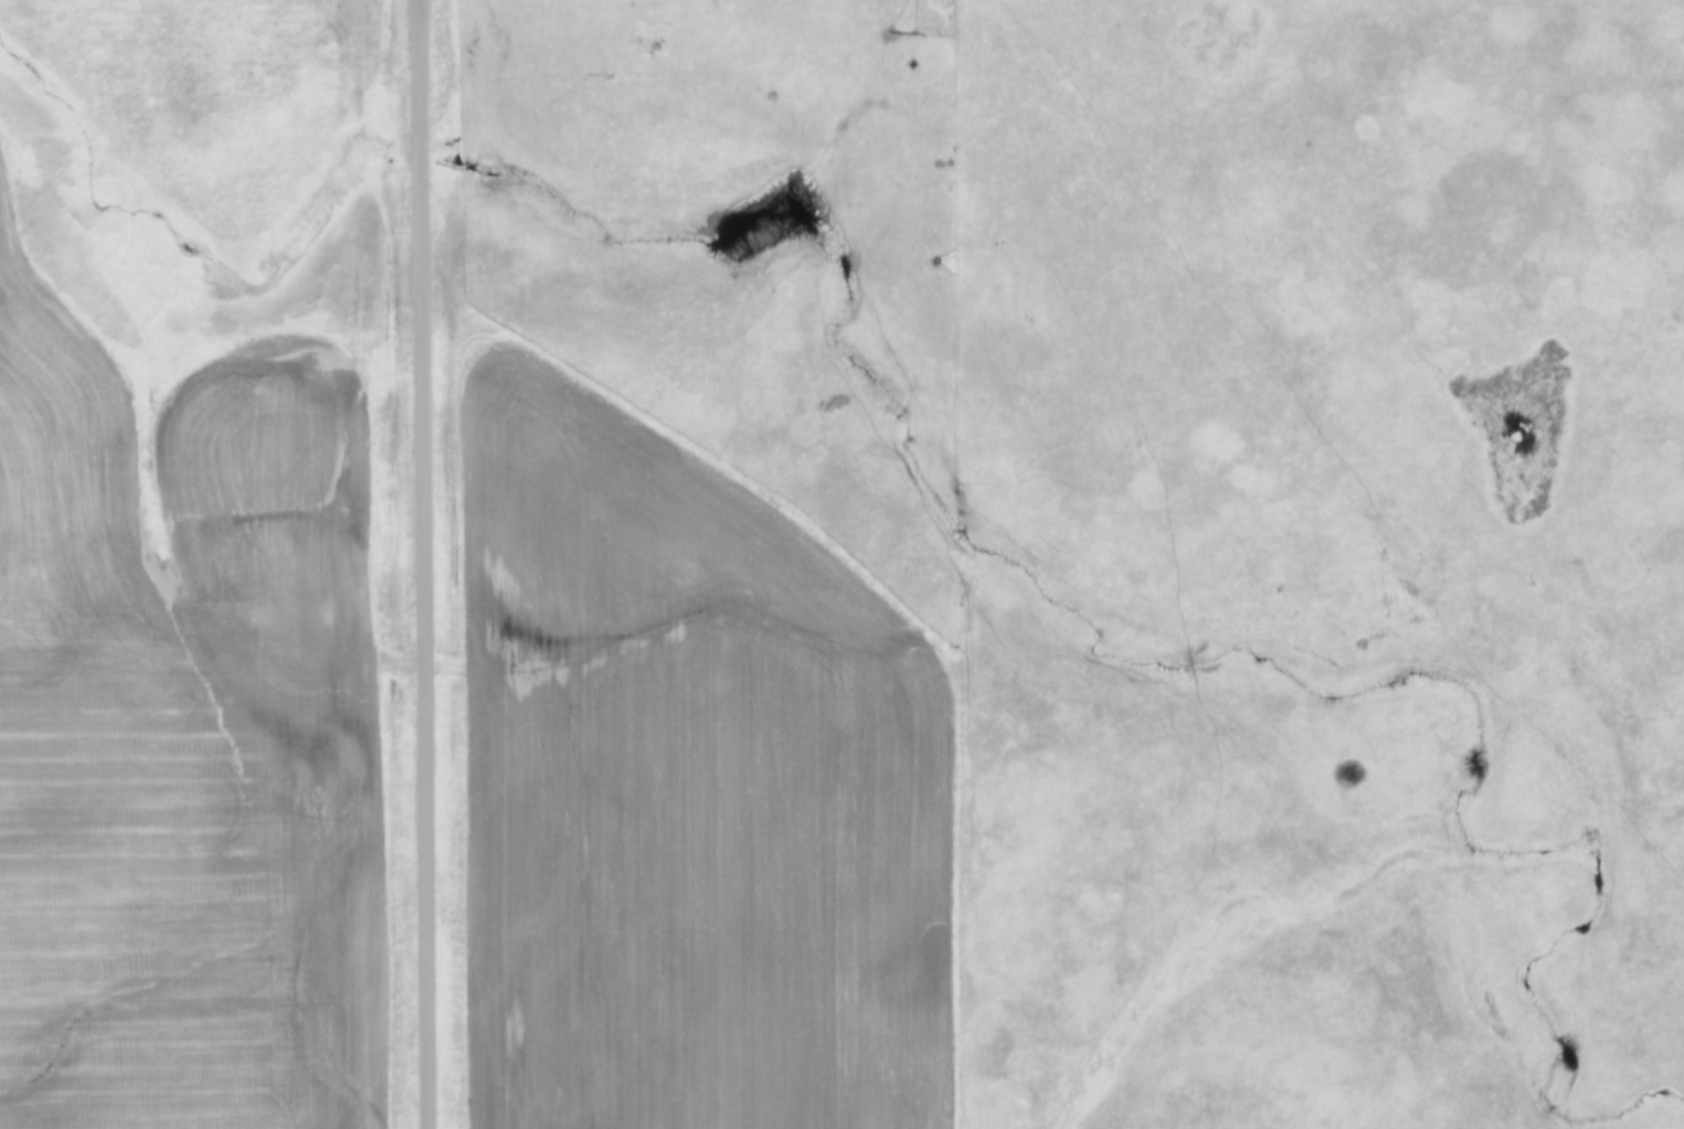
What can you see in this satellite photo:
building: (649, 39)
road: (424, 564)

